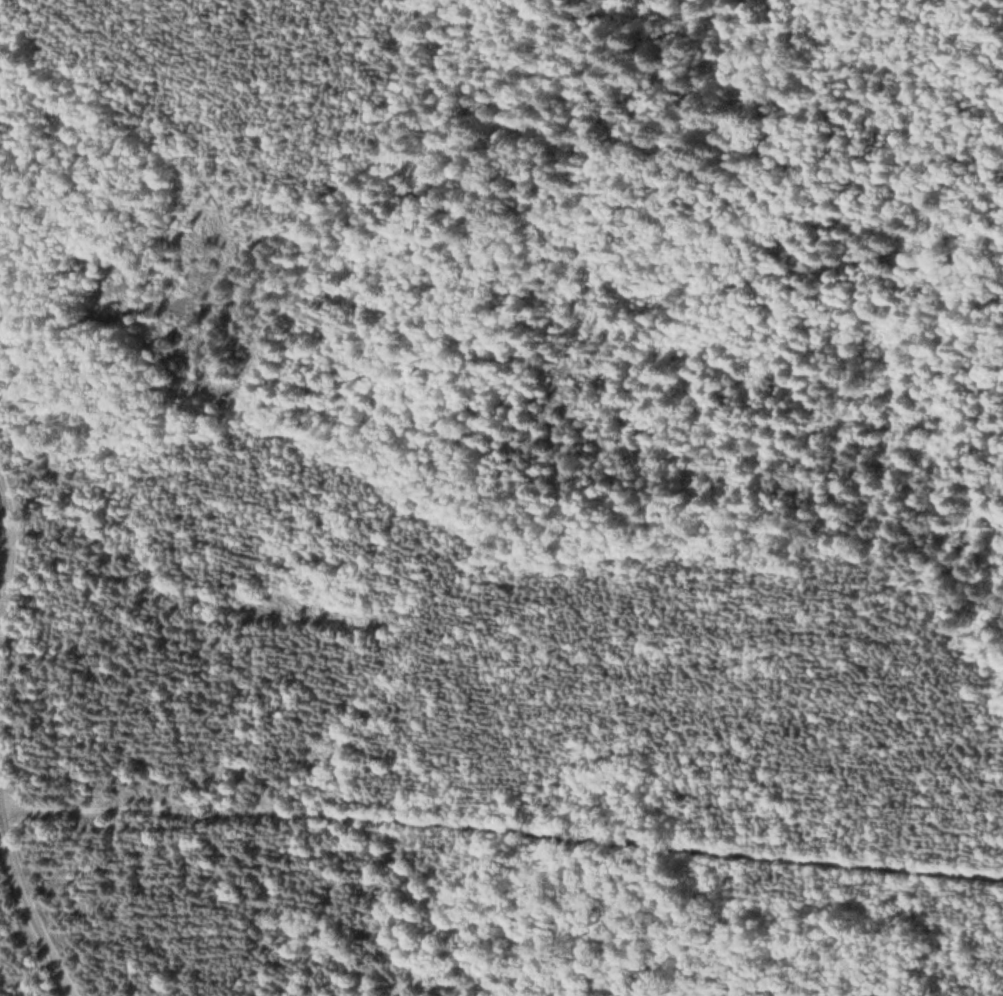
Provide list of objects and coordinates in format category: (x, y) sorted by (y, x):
road: (13, 545)
road: (502, 833)
road: (34, 907)

